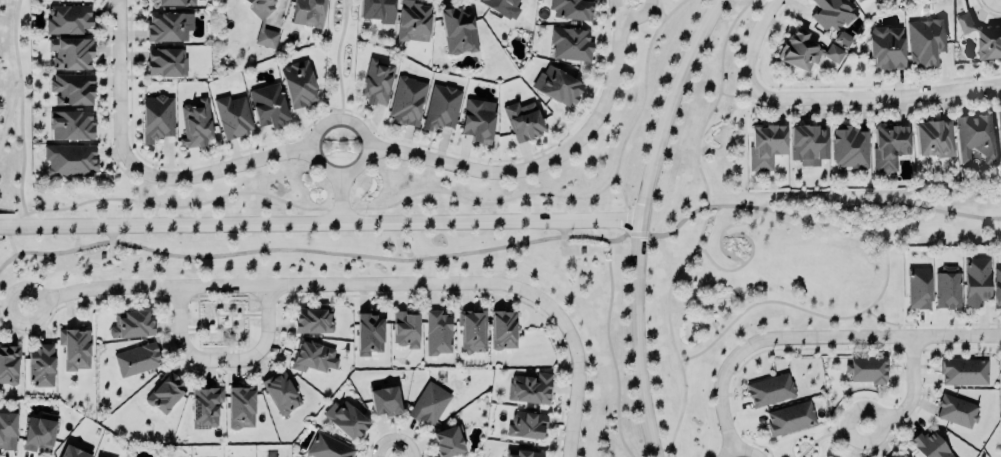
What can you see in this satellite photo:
building: (61, 0)
road: (656, 0)
building: (860, 1)
building: (173, 4)
building: (260, 8)
building: (501, 8)
building: (377, 11)
building: (571, 11)
building: (308, 14)
building: (831, 14)
building: (67, 21)
building: (412, 23)
building: (166, 30)
building: (457, 33)
road: (758, 38)
building: (266, 40)
building: (843, 40)
building: (983, 40)
building: (925, 43)
building: (570, 46)
building: (886, 50)
building: (806, 52)
building: (70, 55)
road: (337, 60)
building: (165, 65)
road: (122, 84)
building: (376, 84)
building: (298, 86)
building: (557, 88)
building: (71, 91)
road: (741, 97)
road: (872, 99)
building: (407, 103)
building: (268, 107)
building: (441, 109)
road: (21, 118)
building: (232, 118)
building: (157, 120)
building: (478, 122)
building: (522, 123)
building: (195, 126)
building: (71, 127)
building: (999, 131)
building: (933, 141)
building: (975, 141)
building: (808, 147)
building: (766, 148)
building: (889, 148)
building: (850, 149)
building: (69, 161)
road: (549, 162)
road: (322, 168)
road: (222, 172)
road: (623, 190)
road: (417, 193)
road: (339, 199)
road: (822, 212)
road: (13, 216)
road: (645, 221)
road: (322, 225)
road: (703, 228)
road: (564, 230)
road: (111, 234)
road: (638, 234)
road: (5, 237)
road: (337, 253)
road: (15, 255)
building: (976, 282)
road: (369, 286)
building: (947, 288)
building: (997, 288)
building: (918, 289)
road: (225, 299)
road: (13, 306)
road: (217, 308)
road: (243, 314)
road: (819, 314)
building: (312, 322)
road: (888, 322)
building: (130, 325)
road: (206, 328)
building: (405, 330)
building: (503, 331)
building: (472, 332)
building: (437, 334)
building: (368, 335)
road: (231, 338)
road: (816, 339)
building: (74, 350)
road: (611, 350)
building: (313, 358)
building: (136, 360)
road: (226, 363)
building: (8, 366)
building: (40, 367)
building: (867, 370)
building: (964, 373)
building: (529, 390)
building: (770, 391)
building: (164, 394)
building: (280, 394)
road: (914, 397)
building: (384, 401)
building: (429, 405)
building: (205, 408)
building: (240, 408)
building: (957, 412)
building: (790, 419)
building: (345, 421)
building: (526, 427)
building: (7, 432)
building: (37, 435)
building: (447, 443)
building: (930, 445)
building: (328, 448)
building: (71, 452)
building: (519, 454)
road: (743, 454)
building: (904, 456)

